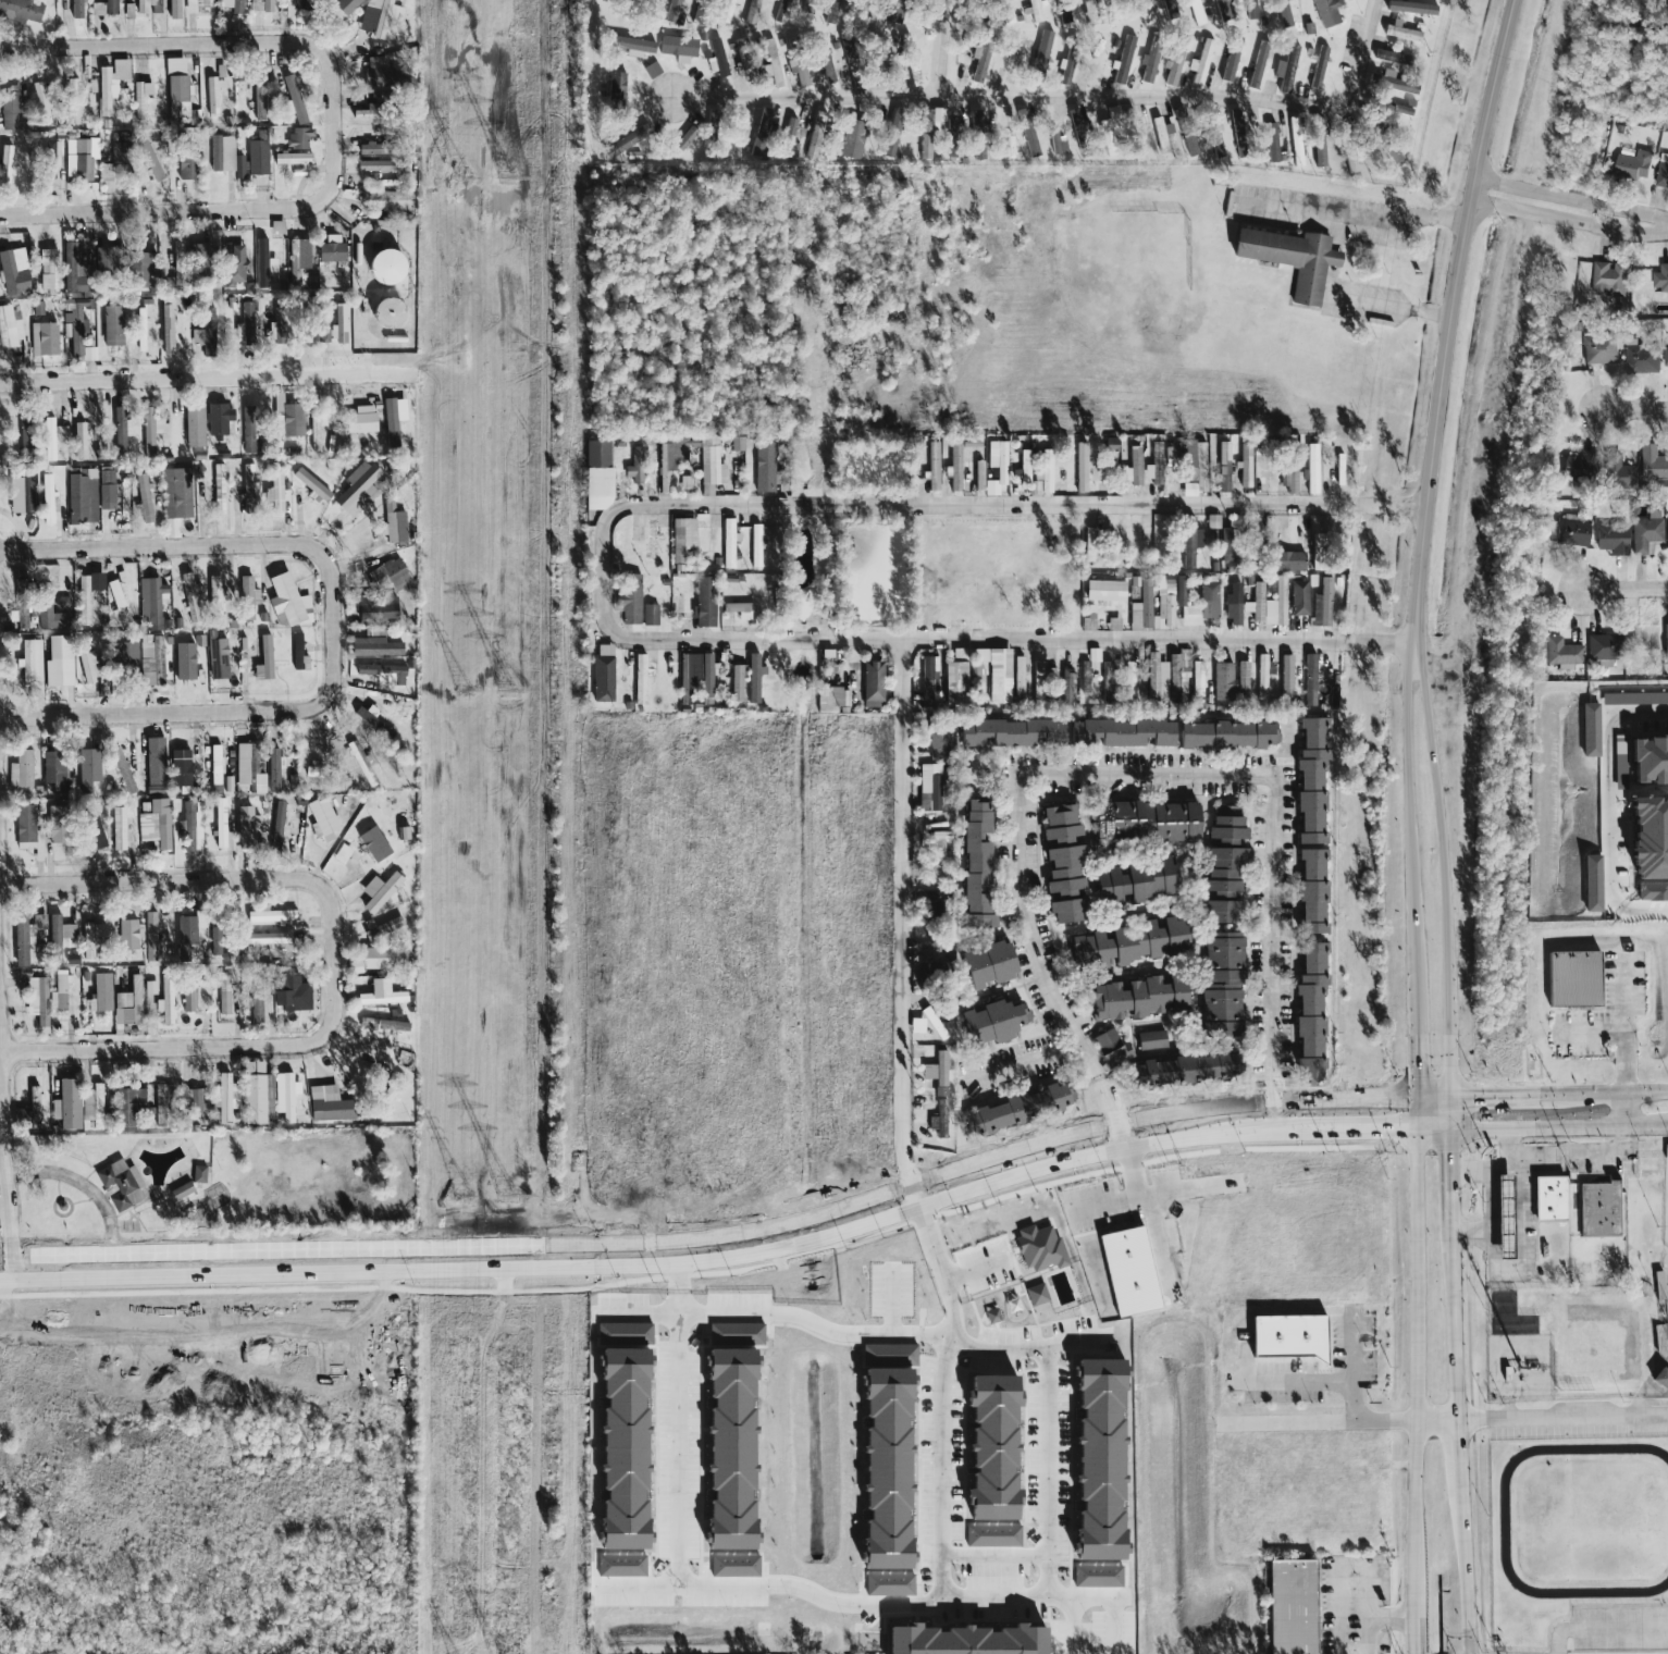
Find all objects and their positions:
building: (399, 0)
building: (866, 1)
building: (675, 4)
building: (232, 5)
building: (254, 5)
building: (344, 5)
building: (155, 7)
building: (196, 7)
building: (265, 7)
building: (103, 8)
building: (140, 8)
building: (1411, 8)
building: (173, 9)
building: (1166, 9)
building: (75, 10)
building: (128, 10)
building: (727, 10)
building: (20, 11)
building: (753, 11)
building: (781, 11)
building: (1035, 11)
building: (830, 12)
building: (1006, 12)
building: (1091, 12)
building: (1142, 12)
building: (1195, 12)
building: (1326, 13)
building: (1251, 14)
building: (376, 16)
building: (1401, 34)
road: (200, 45)
building: (631, 47)
road: (941, 48)
building: (678, 49)
building: (1041, 50)
building: (1016, 51)
building: (744, 58)
building: (1392, 58)
building: (1123, 60)
building: (909, 61)
building: (1228, 61)
building: (824, 62)
building: (770, 63)
building: (978, 63)
building: (1149, 64)
building: (1199, 64)
building: (173, 65)
building: (1257, 65)
building: (1173, 67)
building: (1318, 67)
building: (1286, 69)
building: (220, 71)
building: (1064, 71)
building: (800, 72)
building: (376, 73)
building: (1392, 83)
building: (111, 86)
building: (615, 90)
building: (212, 95)
building: (259, 95)
building: (139, 98)
building: (176, 98)
road: (1071, 98)
building: (294, 99)
building: (40, 102)
building: (74, 103)
building: (9, 108)
building: (365, 113)
building: (1112, 113)
building: (1179, 116)
building: (1075, 120)
building: (816, 129)
building: (928, 129)
building: (1104, 131)
building: (1240, 131)
building: (977, 132)
building: (1027, 133)
building: (762, 134)
building: (1161, 134)
building: (788, 136)
building: (892, 136)
building: (298, 138)
building: (684, 139)
building: (851, 139)
building: (627, 141)
building: (1296, 141)
building: (1215, 143)
building: (1271, 143)
building: (1317, 143)
building: (1057, 144)
building: (1189, 144)
building: (369, 148)
building: (221, 153)
building: (1392, 153)
building: (252, 158)
building: (292, 158)
building: (48, 159)
building: (77, 159)
building: (185, 162)
building: (4, 163)
building: (1350, 164)
building: (1633, 164)
building: (118, 165)
building: (381, 165)
building: (1663, 171)
power tower: (464, 174)
power tower: (510, 181)
building: (385, 199)
road: (1573, 200)
road: (199, 212)
road: (1359, 212)
road: (1570, 224)
building: (276, 227)
building: (331, 249)
building: (107, 258)
building: (1290, 259)
building: (199, 260)
building: (297, 260)
building: (177, 263)
building: (262, 263)
building: (234, 267)
building: (383, 267)
building: (74, 269)
building: (137, 269)
building: (13, 272)
building: (49, 273)
building: (1608, 279)
building: (1660, 279)
building: (384, 312)
road: (1454, 320)
building: (244, 321)
building: (75, 323)
building: (339, 323)
building: (276, 324)
building: (111, 325)
building: (203, 329)
building: (9, 330)
building: (166, 330)
building: (323, 331)
building: (42, 338)
building: (1599, 349)
building: (88, 354)
building: (1666, 356)
building: (1641, 358)
road: (208, 380)
road: (1636, 409)
building: (287, 418)
building: (393, 418)
building: (218, 420)
building: (359, 421)
building: (193, 425)
building: (279, 425)
building: (247, 430)
building: (119, 431)
building: (314, 431)
building: (60, 432)
building: (149, 432)
building: (23, 437)
building: (48, 439)
building: (78, 441)
building: (737, 444)
building: (1110, 444)
building: (1195, 464)
building: (1244, 464)
building: (1652, 464)
building: (634, 466)
building: (932, 466)
building: (1080, 466)
building: (1134, 466)
building: (1576, 466)
building: (712, 467)
building: (764, 467)
building: (955, 467)
building: (996, 467)
building: (1024, 467)
building: (1223, 467)
building: (1311, 469)
building: (1338, 469)
building: (1046, 471)
building: (1618, 473)
building: (596, 474)
building: (978, 476)
building: (1288, 478)
building: (310, 484)
building: (218, 489)
building: (248, 489)
building: (275, 489)
building: (106, 490)
building: (357, 490)
building: (176, 493)
building: (20, 494)
building: (121, 495)
building: (82, 497)
building: (46, 498)
building: (144, 498)
road: (988, 505)
building: (1212, 521)
building: (392, 524)
building: (1571, 530)
building: (1645, 533)
building: (1667, 535)
building: (1613, 538)
building: (1228, 539)
building: (681, 540)
building: (728, 543)
building: (1088, 544)
road: (201, 545)
building: (755, 546)
building: (1190, 546)
building: (1288, 561)
building: (394, 575)
road: (1624, 589)
building: (1104, 591)
building: (86, 594)
building: (190, 596)
building: (39, 597)
building: (628, 597)
building: (1299, 597)
building: (246, 598)
building: (116, 600)
building: (358, 600)
building: (1208, 600)
building: (214, 601)
building: (1164, 601)
building: (287, 602)
building: (704, 602)
building: (1257, 602)
building: (150, 603)
building: (1322, 604)
building: (1275, 605)
building: (1186, 607)
building: (1246, 607)
building: (382, 608)
building: (739, 610)
building: (650, 615)
building: (21, 617)
road: (991, 635)
building: (1665, 642)
building: (373, 644)
building: (1601, 650)
building: (1539, 652)
building: (297, 653)
building: (1561, 654)
building: (957, 655)
building: (125, 657)
building: (217, 659)
building: (151, 661)
building: (262, 661)
building: (58, 662)
building: (30, 663)
building: (86, 664)
building: (184, 664)
building: (977, 665)
building: (767, 671)
building: (383, 674)
building: (602, 674)
building: (706, 675)
building: (1178, 675)
building: (998, 676)
building: (1084, 677)
building: (1200, 677)
building: (1261, 677)
building: (640, 678)
building: (1017, 678)
building: (1128, 678)
building: (1286, 678)
building: (689, 679)
building: (928, 679)
building: (1107, 679)
building: (1156, 679)
building: (1243, 680)
building: (1309, 680)
building: (753, 681)
building: (1037, 681)
building: (872, 682)
building: (737, 683)
building: (954, 684)
building: (1222, 686)
building: (1065, 687)
power tower: (464, 690)
power tower: (507, 695)
building: (831, 700)
road: (199, 714)
building: (372, 720)
building: (1590, 730)
building: (1011, 732)
building: (1121, 732)
building: (1226, 735)
building: (938, 744)
building: (1650, 758)
building: (360, 763)
building: (214, 765)
building: (245, 765)
building: (146, 768)
building: (178, 768)
building: (21, 769)
building: (87, 769)
building: (311, 769)
building: (122, 770)
building: (274, 770)
building: (54, 774)
road: (1130, 774)
building: (1310, 780)
road: (1416, 781)
building: (226, 783)
building: (258, 783)
building: (929, 788)
road: (1613, 811)
building: (1058, 815)
building: (320, 818)
building: (1144, 820)
building: (220, 823)
building: (155, 824)
building: (23, 825)
building: (276, 825)
building: (244, 826)
building: (1225, 826)
building: (190, 827)
building: (116, 828)
building: (94, 830)
building: (1060, 834)
building: (1648, 839)
building: (372, 844)
road: (1188, 848)
road: (1094, 849)
building: (341, 854)
building: (975, 865)
road: (1444, 869)
building: (1223, 873)
road: (201, 880)
building: (1135, 882)
building: (1064, 884)
building: (1592, 884)
building: (1311, 891)
building: (1652, 891)
building: (381, 893)
building: (932, 903)
building: (1220, 912)
building: (271, 915)
road: (1116, 919)
road: (911, 921)
building: (381, 928)
building: (184, 930)
building: (66, 931)
building: (126, 935)
building: (24, 936)
building: (91, 937)
building: (149, 937)
building: (265, 938)
building: (52, 939)
building: (1129, 943)
building: (372, 954)
building: (987, 964)
building: (371, 967)
building: (929, 968)
road: (1416, 971)
building: (1577, 978)
road: (1201, 979)
building: (1221, 985)
building: (149, 988)
building: (59, 991)
building: (287, 991)
building: (384, 992)
building: (223, 995)
building: (1138, 998)
building: (36, 1000)
building: (127, 1002)
building: (165, 1002)
building: (1309, 1009)
building: (256, 1010)
road: (1172, 1020)
building: (991, 1023)
building: (383, 1025)
building: (916, 1025)
road: (1623, 1029)
building: (939, 1033)
road: (1591, 1037)
building: (1150, 1040)
road: (196, 1048)
building: (1111, 1049)
road: (1027, 1059)
building: (936, 1070)
building: (1186, 1070)
traffic signals: (1416, 1073)
road: (1416, 1077)
building: (940, 1091)
building: (259, 1095)
road: (1609, 1096)
traffic signals: (1471, 1097)
road: (1484, 1097)
building: (227, 1098)
building: (288, 1098)
road: (1345, 1098)
building: (160, 1099)
building: (33, 1100)
building: (92, 1102)
building: (196, 1103)
building: (67, 1104)
building: (326, 1104)
building: (127, 1107)
road: (1194, 1108)
building: (1016, 1109)
road: (1623, 1113)
building: (21, 1114)
road: (1276, 1114)
building: (938, 1120)
road: (1312, 1131)
road: (1560, 1132)
traffic signals: (1394, 1133)
road: (1398, 1133)
road: (1120, 1135)
road: (1201, 1138)
traffic signals: (1453, 1151)
road: (1565, 1152)
road: (1499, 1163)
road: (1454, 1172)
building: (198, 1175)
road: (81, 1182)
building: (119, 1185)
building: (180, 1192)
power tower: (465, 1195)
power tower: (505, 1195)
road: (0, 1198)
building: (1552, 1198)
road: (1491, 1201)
building: (1601, 1210)
building: (1504, 1214)
road: (1, 1224)
park: (1666, 1233)
road: (565, 1243)
road: (1519, 1246)
building: (1039, 1248)
road: (681, 1250)
road: (570, 1264)
building: (1128, 1272)
road: (682, 1289)
building: (1036, 1295)
building: (736, 1334)
building: (1287, 1337)
road: (1418, 1356)
building: (1660, 1380)
road: (1295, 1386)
road: (1352, 1402)
road: (1564, 1418)
road: (1438, 1422)
road: (1295, 1429)
building: (729, 1447)
building: (991, 1449)
road: (1460, 1451)
building: (885, 1456)
building: (1098, 1460)
building: (622, 1509)
track: (1505, 1522)
building: (992, 1536)
road: (1048, 1539)
building: (620, 1566)
building: (733, 1566)
building: (1097, 1577)
road: (1343, 1580)
building: (889, 1584)
road: (697, 1592)
building: (1290, 1607)
road: (1416, 1616)
road: (1391, 1620)
road: (1602, 1625)
road: (1366, 1632)
building: (963, 1641)

